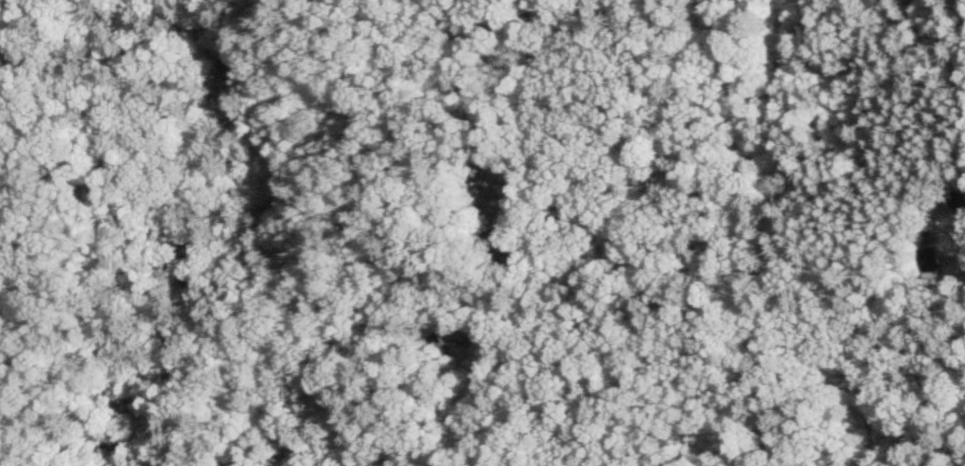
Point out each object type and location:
road: (724, 48)
road: (641, 159)
road: (757, 291)
road: (857, 330)

